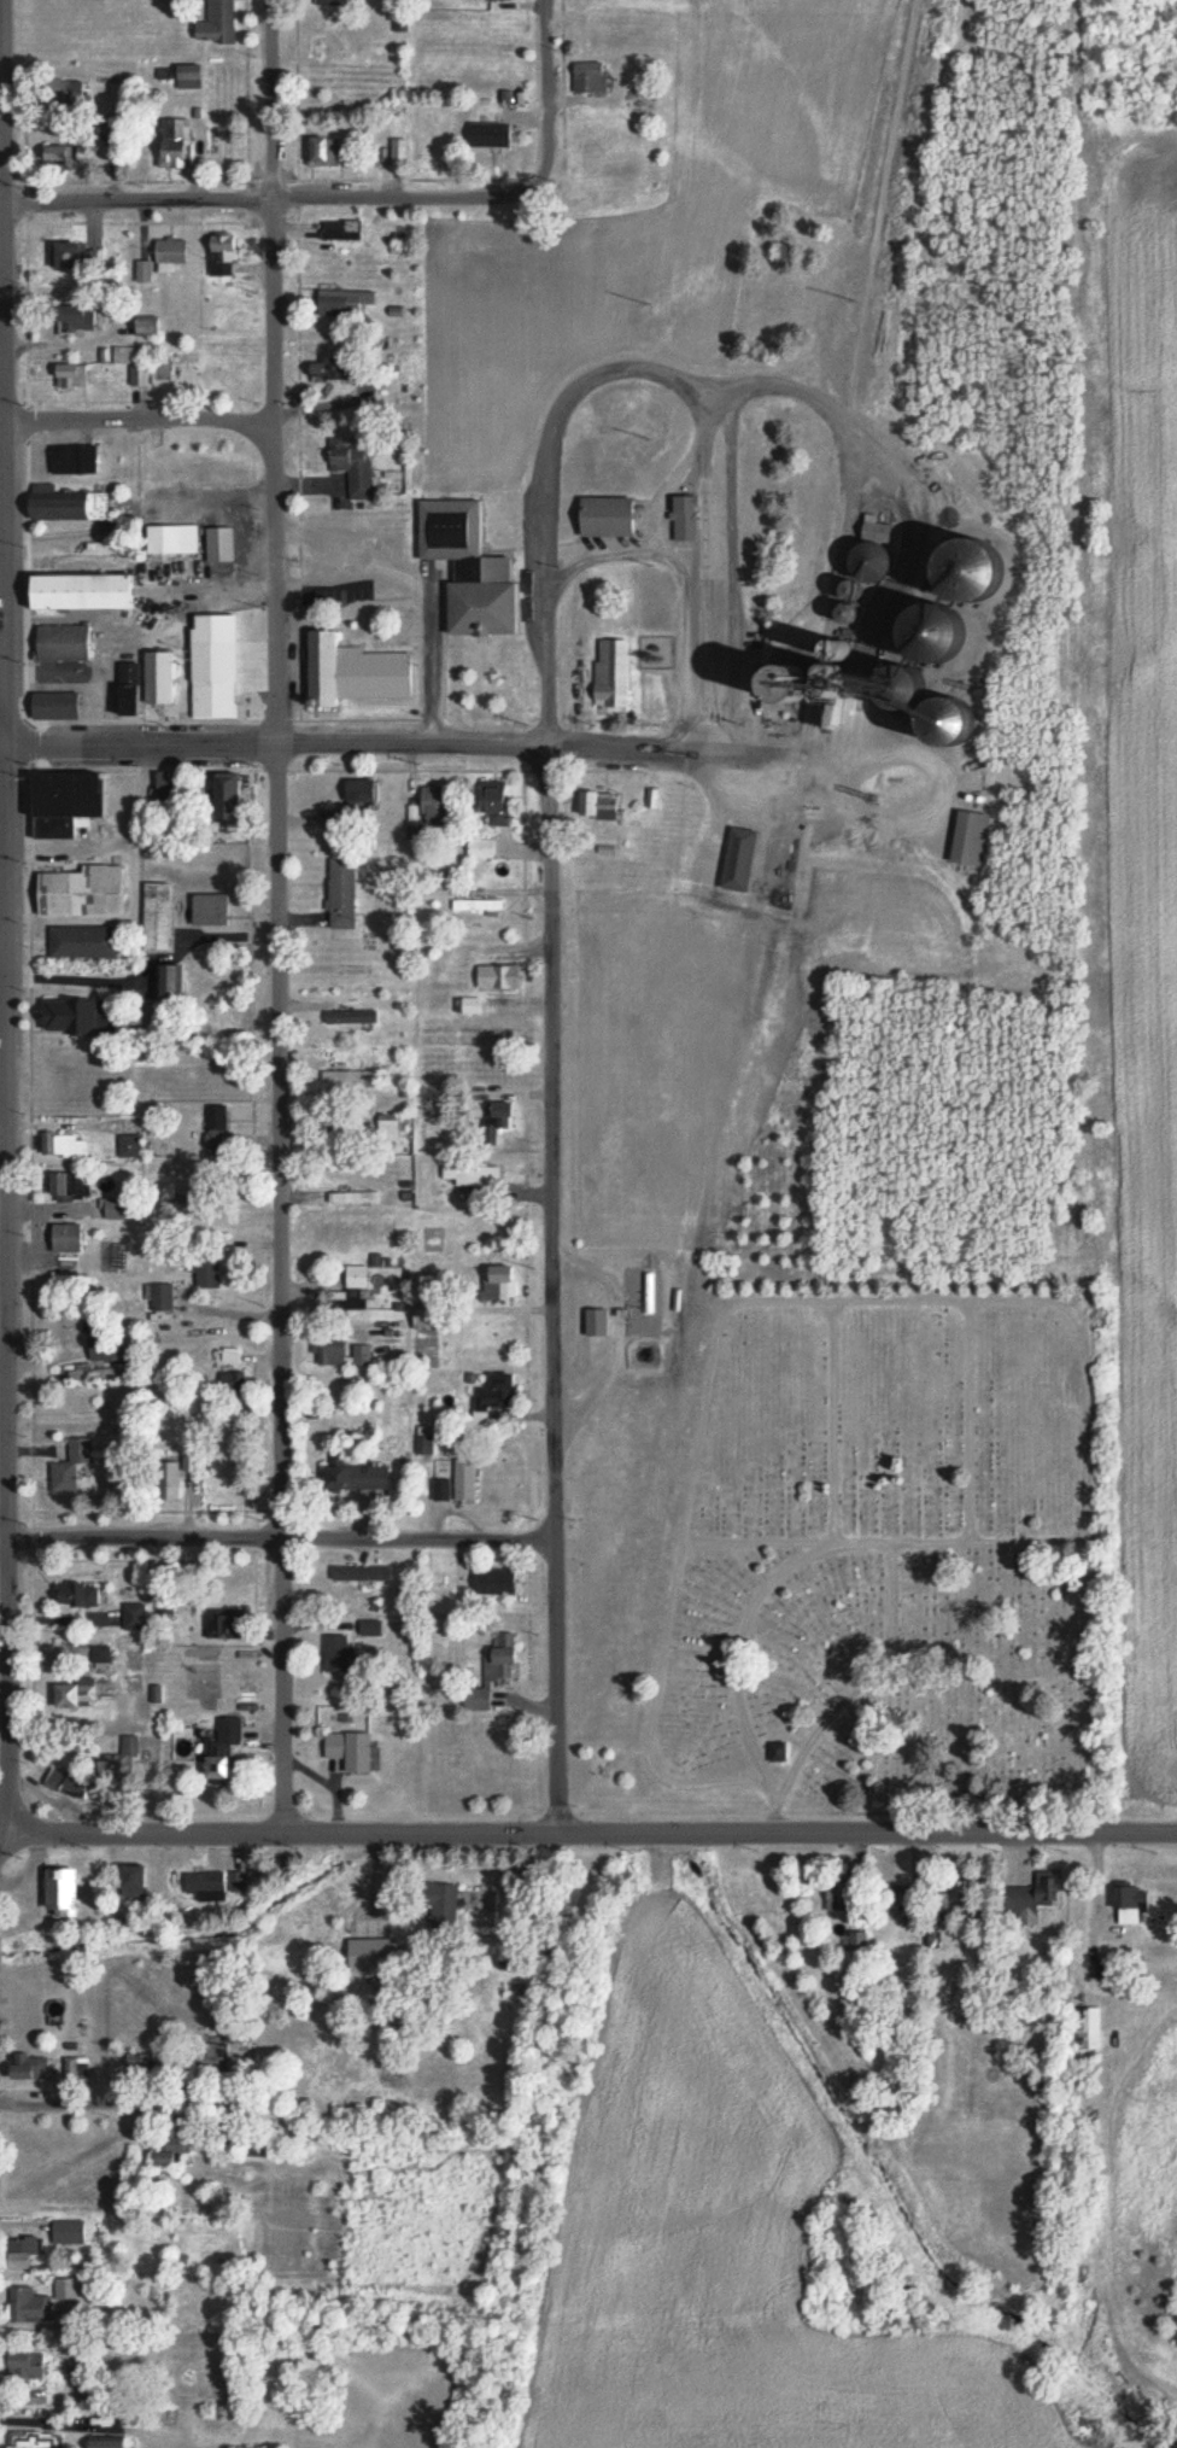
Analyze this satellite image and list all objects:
building: (338, 1)
building: (221, 23)
building: (591, 76)
building: (193, 80)
road: (544, 98)
building: (494, 134)
building: (178, 144)
building: (328, 151)
building: (63, 158)
road: (267, 198)
crop: (651, 221)
building: (345, 229)
building: (174, 253)
building: (68, 255)
building: (224, 256)
building: (146, 271)
building: (346, 303)
building: (84, 317)
building: (153, 327)
building: (128, 362)
building: (333, 370)
road: (4, 372)
road: (276, 372)
building: (74, 374)
road: (140, 421)
road: (556, 456)
building: (76, 458)
building: (355, 465)
road: (675, 486)
building: (69, 504)
road: (849, 514)
building: (614, 516)
building: (690, 519)
road: (912, 538)
building: (177, 539)
road: (707, 539)
building: (223, 544)
building: (877, 554)
road: (632, 560)
building: (470, 568)
road: (431, 582)
building: (87, 592)
building: (63, 642)
building: (215, 670)
road: (707, 671)
building: (347, 673)
building: (614, 673)
road: (869, 680)
building: (150, 683)
road: (964, 687)
building: (825, 691)
building: (57, 706)
road: (1, 744)
road: (374, 744)
road: (30, 746)
road: (551, 760)
building: (234, 800)
building: (74, 802)
building: (353, 802)
building: (499, 802)
building: (605, 806)
road: (885, 817)
building: (971, 837)
building: (482, 848)
building: (743, 859)
building: (89, 892)
building: (344, 893)
building: (479, 904)
building: (211, 910)
building: (159, 917)
building: (88, 942)
crop: (1136, 969)
building: (502, 977)
building: (172, 983)
building: (469, 1005)
building: (353, 1017)
building: (352, 1076)
building: (502, 1120)
building: (223, 1129)
building: (65, 1145)
building: (131, 1147)
building: (475, 1175)
building: (71, 1185)
building: (185, 1200)
building: (119, 1209)
building: (71, 1238)
building: (209, 1275)
building: (358, 1276)
building: (505, 1283)
road: (274, 1286)
road: (7, 1296)
building: (162, 1299)
road: (552, 1301)
road: (767, 1303)
road: (970, 1309)
road: (836, 1311)
building: (429, 1320)
building: (599, 1322)
building: (105, 1349)
building: (345, 1354)
building: (233, 1355)
building: (234, 1385)
building: (499, 1395)
road: (968, 1421)
building: (424, 1439)
road: (1084, 1445)
building: (192, 1463)
building: (72, 1466)
building: (356, 1476)
building: (467, 1480)
building: (444, 1490)
road: (5, 1541)
road: (281, 1543)
road: (879, 1543)
park: (879, 1564)
building: (363, 1573)
building: (498, 1582)
building: (82, 1596)
building: (168, 1606)
building: (136, 1617)
building: (227, 1624)
building: (371, 1629)
building: (100, 1653)
building: (339, 1654)
building: (502, 1657)
road: (860, 1684)
building: (78, 1696)
building: (224, 1748)
building: (128, 1749)
building: (353, 1751)
road: (591, 1830)
building: (140, 1881)
building: (216, 1886)
building: (69, 1892)
building: (964, 1894)
building: (842, 1895)
building: (1036, 1895)
building: (453, 1899)
building: (1132, 1903)
building: (374, 1953)
building: (1094, 2027)
building: (27, 2066)
building: (76, 2067)
road: (131, 2109)
building: (69, 2232)
building: (25, 2253)
crop: (722, 2271)
building: (30, 2306)
building: (30, 2365)
building: (43, 2442)
building: (112, 2442)

